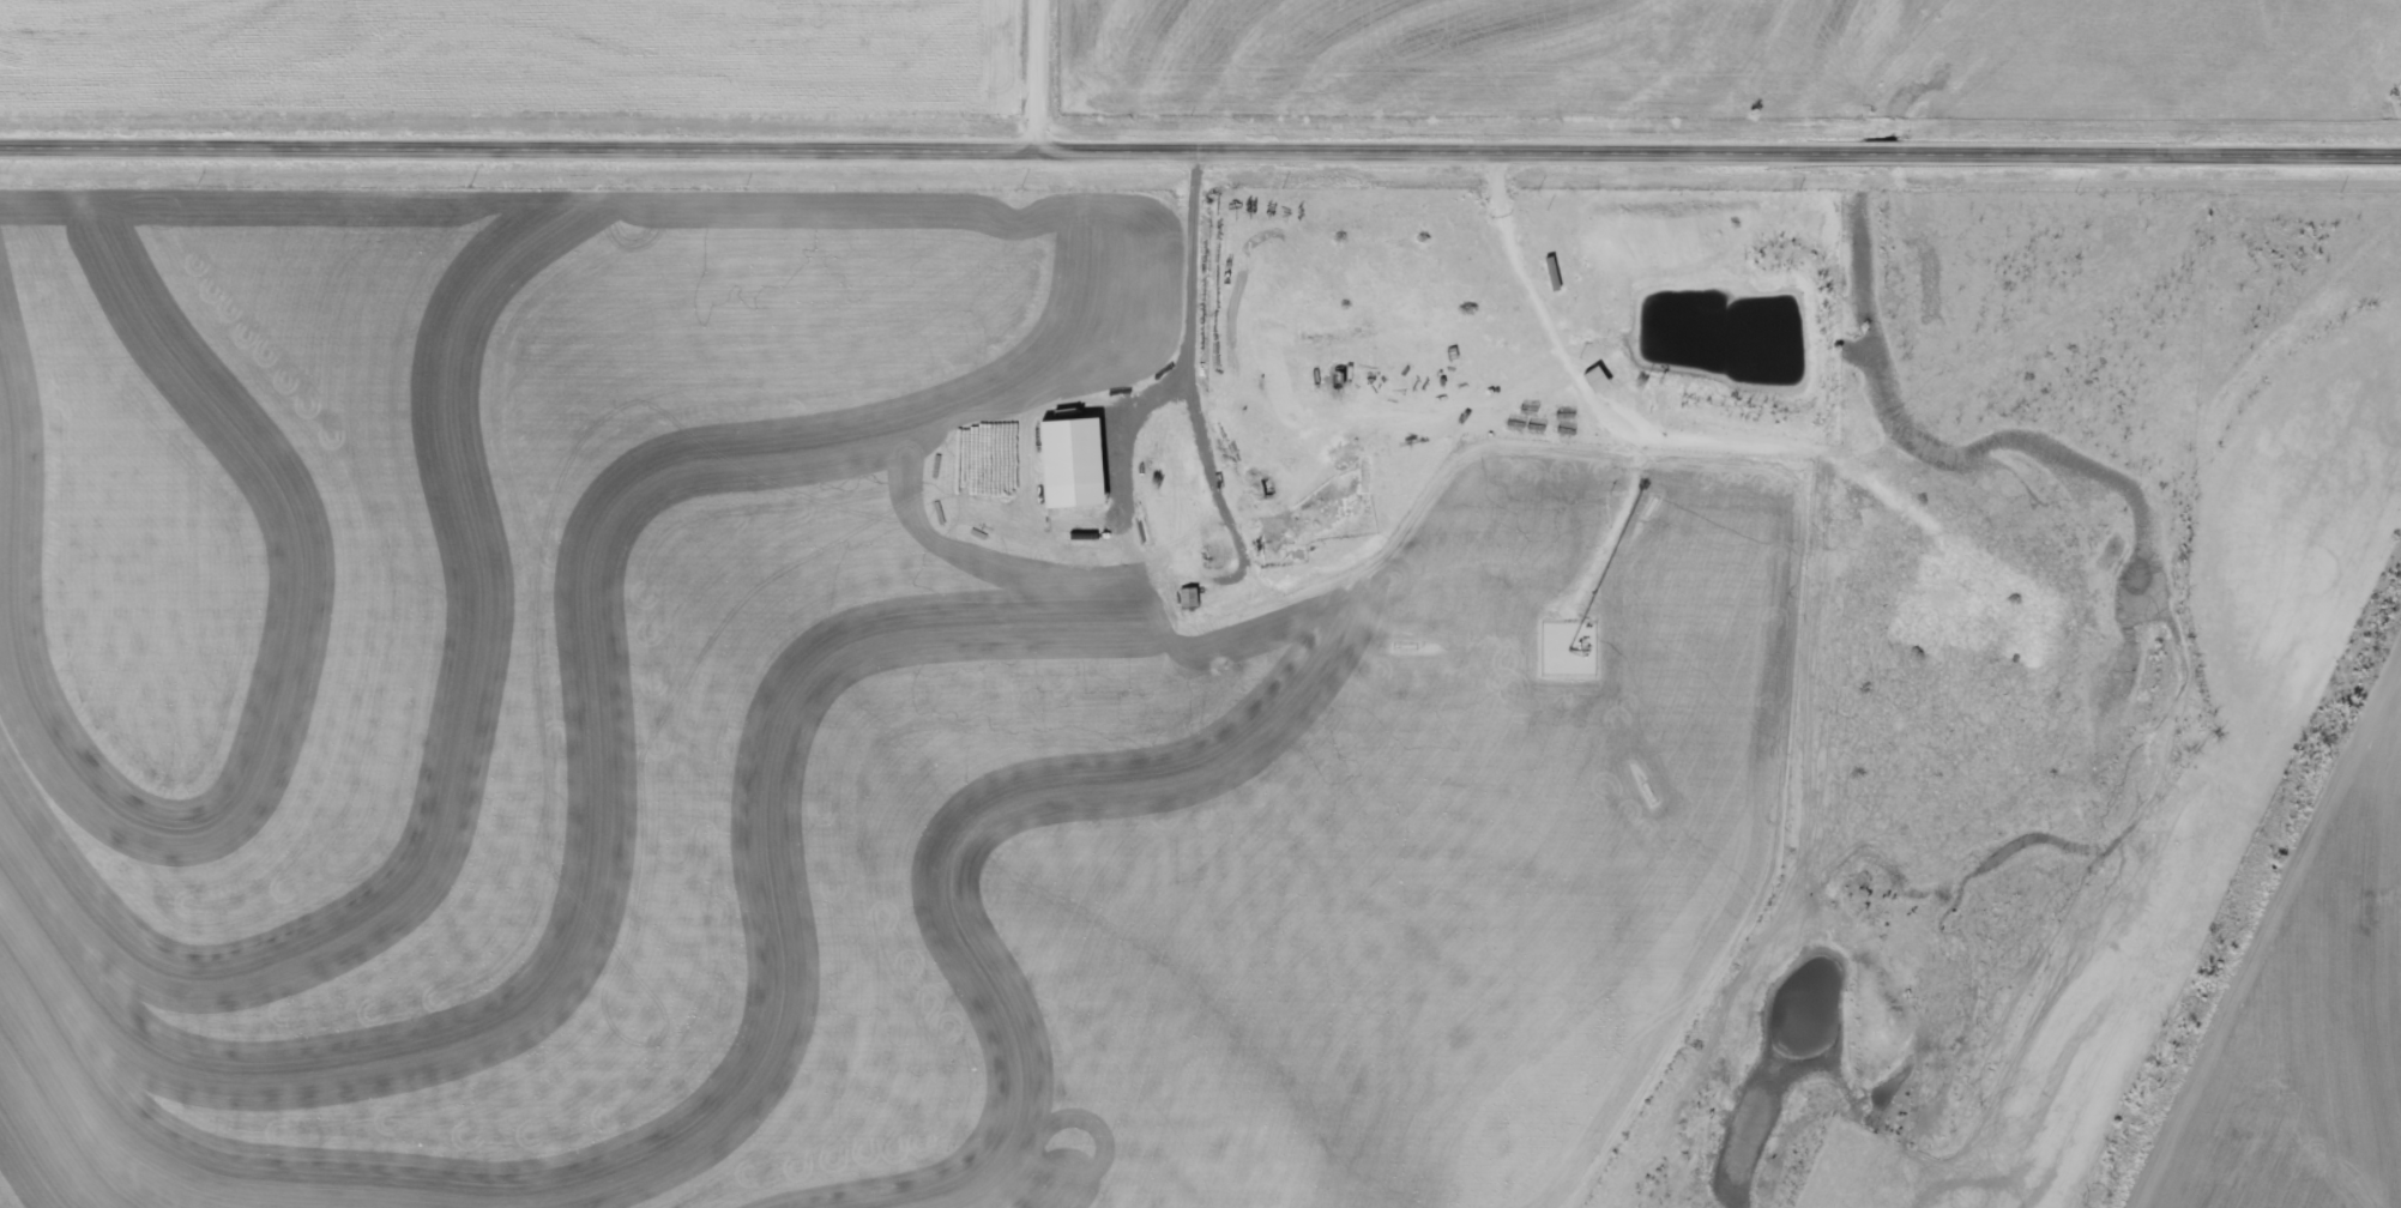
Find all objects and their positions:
road: (1043, 79)
road: (1200, 158)
building: (1598, 377)
building: (1074, 461)

